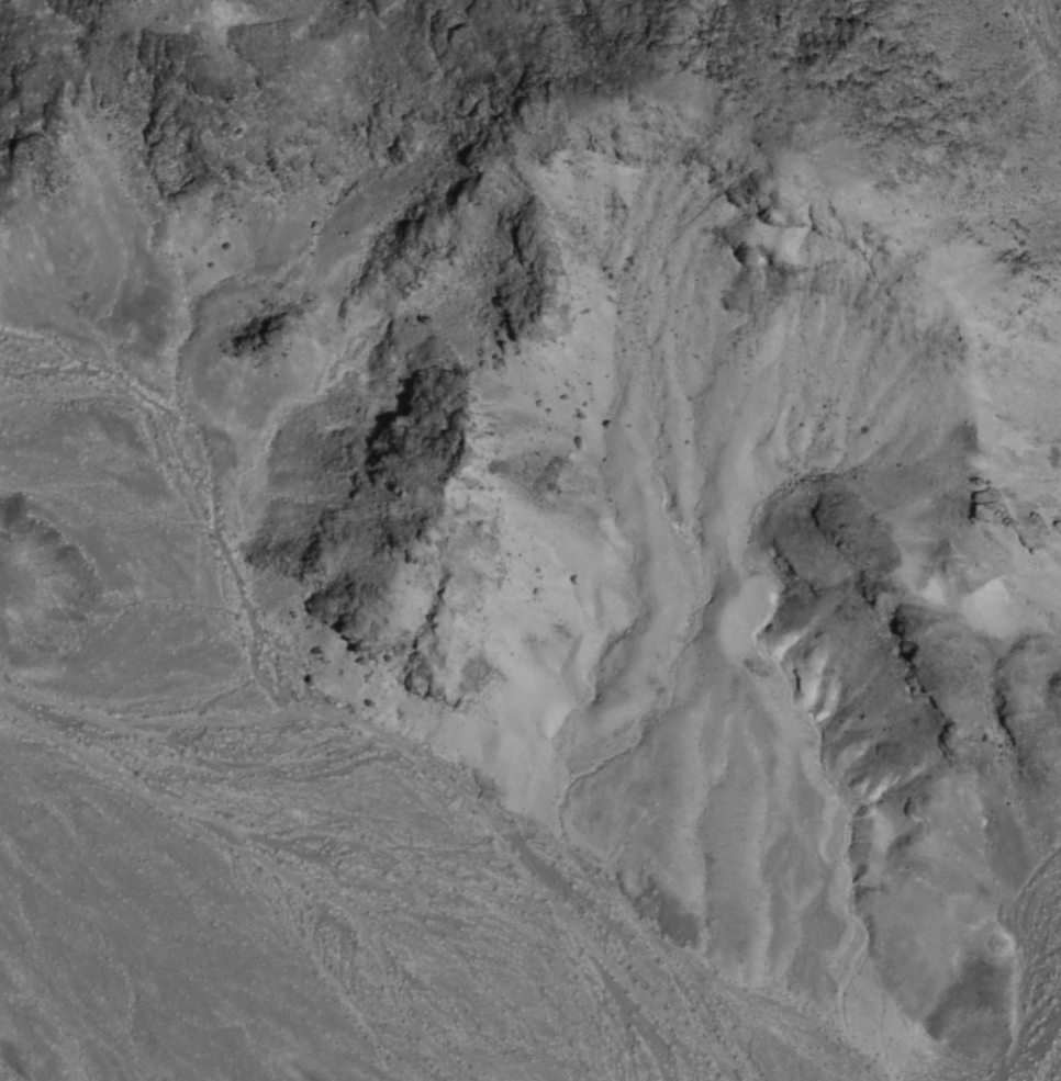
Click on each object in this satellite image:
road: (11, 1071)

